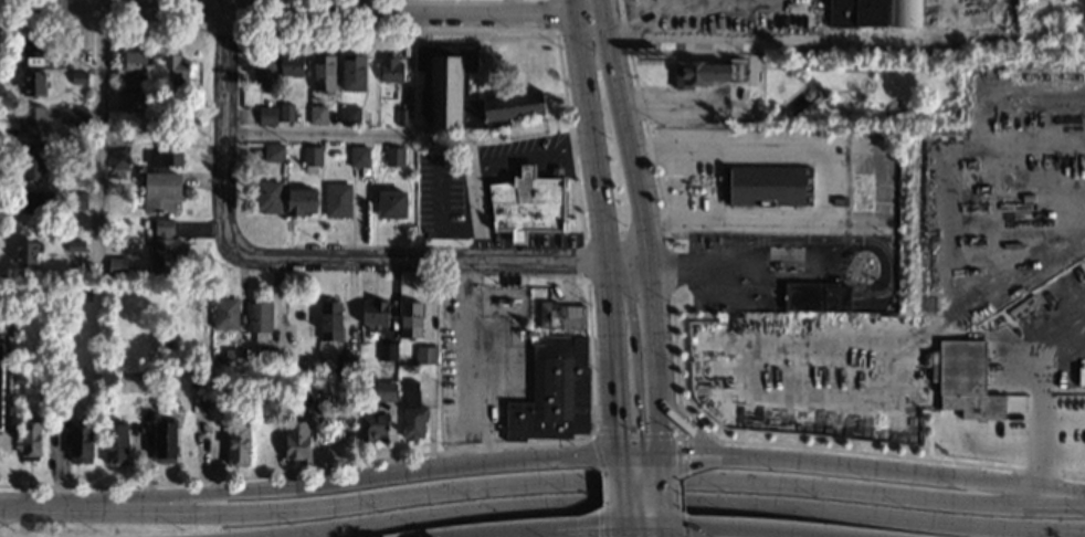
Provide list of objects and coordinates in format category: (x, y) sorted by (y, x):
road: (357, 6)
road: (317, 10)
building: (905, 12)
building: (856, 13)
road: (207, 14)
road: (245, 15)
road: (552, 17)
road: (740, 44)
building: (35, 49)
building: (291, 63)
building: (173, 70)
building: (264, 70)
building: (391, 70)
building: (135, 72)
building: (323, 72)
building: (352, 72)
building: (699, 73)
building: (78, 77)
building: (34, 83)
building: (461, 92)
building: (131, 101)
building: (286, 112)
building: (317, 114)
building: (72, 115)
building: (267, 115)
building: (349, 115)
building: (178, 117)
building: (402, 117)
building: (31, 118)
road: (222, 124)
road: (621, 131)
road: (317, 135)
road: (98, 136)
building: (167, 149)
building: (273, 152)
building: (358, 156)
building: (312, 157)
building: (394, 157)
building: (118, 159)
building: (35, 162)
road: (484, 162)
road: (597, 172)
building: (119, 173)
road: (823, 173)
building: (767, 186)
building: (161, 191)
building: (267, 196)
building: (77, 200)
building: (337, 200)
building: (36, 201)
building: (299, 201)
building: (840, 201)
building: (391, 204)
building: (527, 204)
building: (75, 245)
building: (164, 248)
building: (27, 251)
road: (584, 255)
road: (436, 260)
building: (116, 266)
road: (699, 267)
building: (4, 287)
building: (817, 299)
road: (649, 303)
building: (224, 313)
building: (373, 313)
building: (560, 315)
building: (259, 319)
building: (410, 319)
building: (330, 320)
building: (388, 351)
building: (425, 355)
building: (234, 358)
building: (267, 358)
road: (476, 361)
building: (346, 362)
road: (634, 372)
building: (1, 377)
building: (198, 377)
building: (967, 380)
building: (296, 381)
building: (385, 390)
building: (552, 393)
building: (293, 398)
road: (656, 398)
road: (615, 400)
building: (66, 401)
building: (145, 408)
building: (411, 410)
road: (681, 411)
building: (949, 420)
road: (680, 424)
building: (372, 425)
building: (703, 428)
road: (685, 429)
road: (638, 438)
building: (30, 440)
building: (165, 441)
building: (116, 442)
building: (297, 442)
building: (80, 443)
building: (238, 444)
traffic signals: (619, 455)
road: (639, 455)
traffic signals: (642, 456)
traffic signals: (659, 456)
road: (687, 456)
road: (619, 461)
road: (635, 461)
road: (659, 461)
road: (900, 472)
road: (355, 478)
road: (541, 484)
road: (605, 491)
road: (662, 492)
road: (621, 493)
road: (639, 493)
road: (644, 493)
road: (678, 493)
road: (674, 502)
road: (607, 523)
road: (683, 523)
road: (646, 524)
road: (664, 524)
road: (623, 527)
road: (641, 527)
road: (592, 529)
traffic signals: (624, 529)
traffic signals: (642, 529)
road: (644, 529)
traffic signals: (665, 529)
road: (731, 530)
road: (513, 533)
road: (665, 533)
road: (566, 534)
road: (766, 535)
road: (473, 536)

